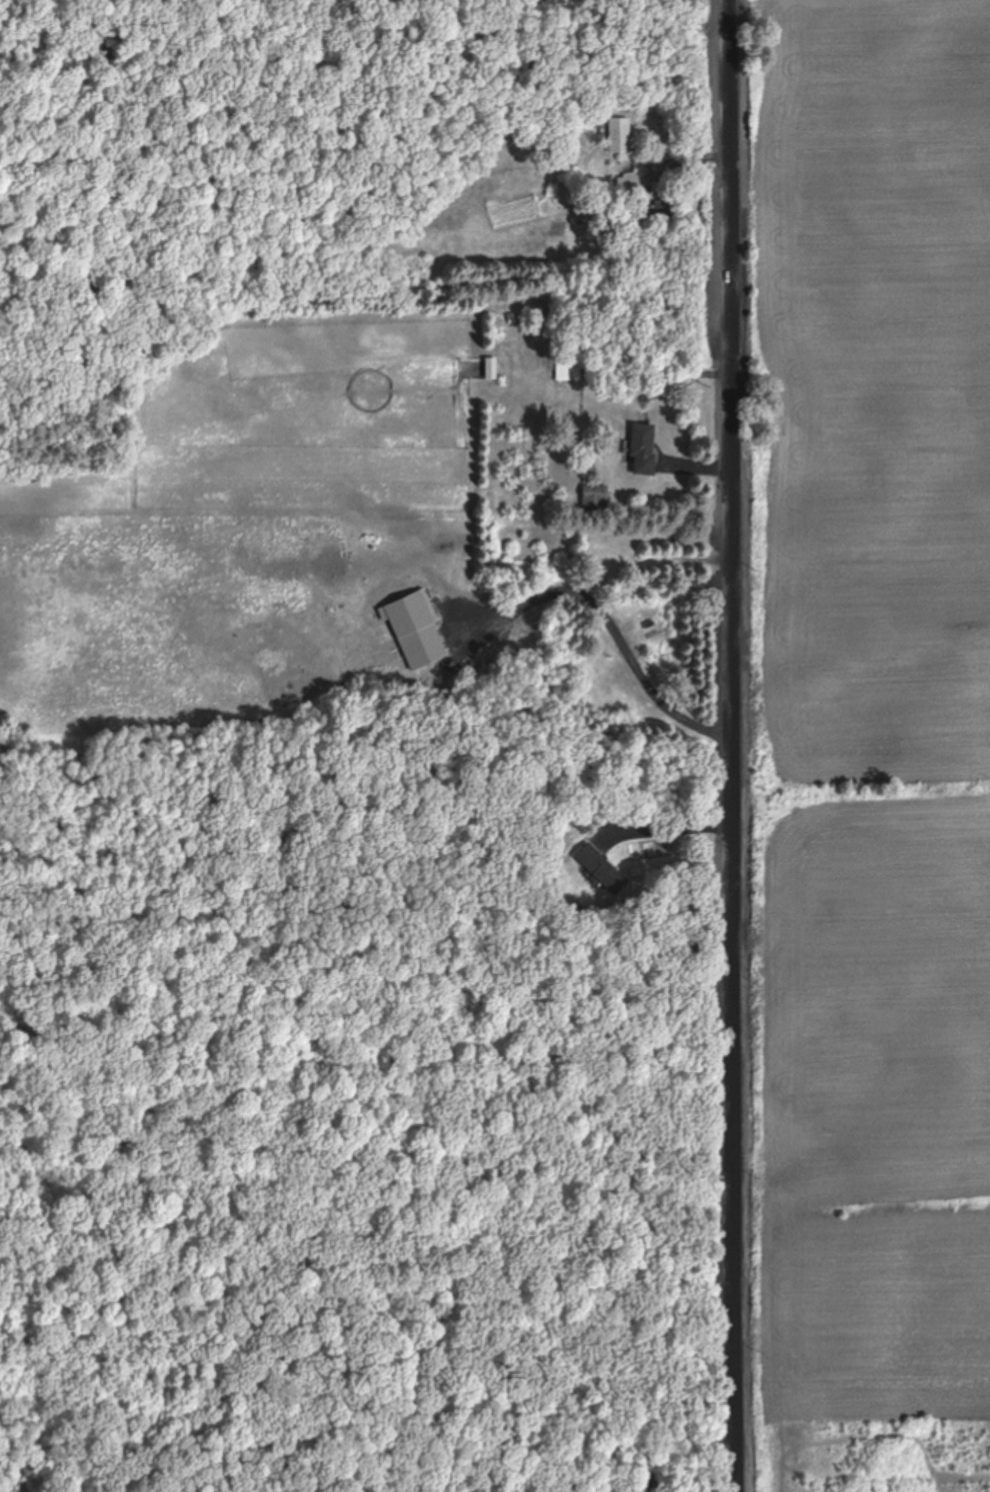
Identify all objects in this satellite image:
building: (617, 136)
building: (627, 187)
building: (663, 213)
building: (568, 371)
building: (641, 450)
building: (593, 499)
crop: (864, 706)
road: (735, 746)
building: (598, 870)

